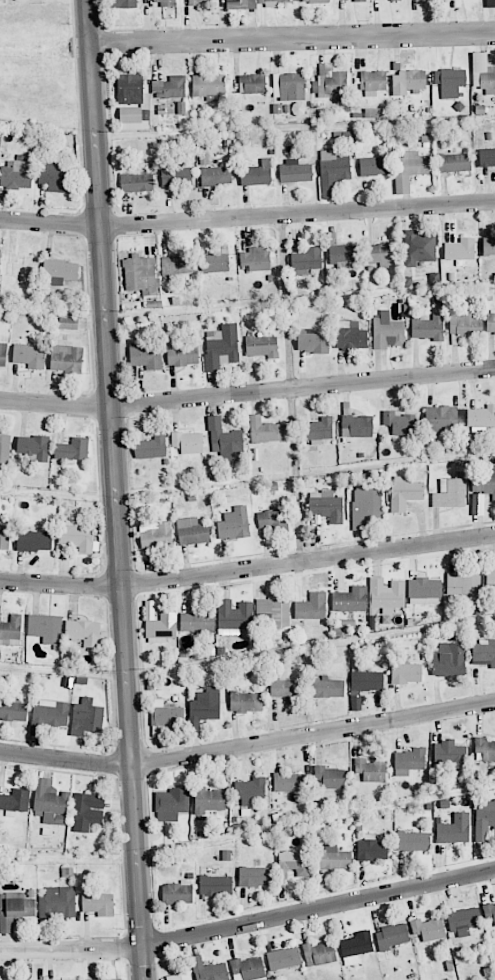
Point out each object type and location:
building: (359, 0)
building: (394, 0)
parking lot: (2, 1)
building: (310, 1)
building: (165, 2)
building: (199, 2)
building: (122, 3)
building: (253, 3)
building: (490, 3)
road: (293, 37)
park: (36, 64)
building: (483, 73)
building: (409, 80)
building: (373, 82)
building: (450, 82)
building: (251, 84)
building: (331, 85)
building: (208, 86)
building: (289, 86)
building: (170, 87)
building: (132, 102)
building: (375, 113)
building: (487, 157)
building: (454, 162)
building: (374, 166)
building: (333, 170)
building: (410, 170)
building: (294, 171)
building: (256, 174)
building: (16, 175)
building: (215, 175)
building: (53, 177)
building: (176, 177)
building: (136, 183)
road: (247, 216)
building: (488, 246)
building: (418, 248)
building: (460, 249)
building: (342, 254)
building: (381, 254)
building: (0, 256)
building: (256, 259)
building: (306, 261)
building: (214, 263)
building: (176, 266)
building: (61, 269)
building: (140, 275)
building: (490, 321)
building: (67, 323)
building: (465, 324)
building: (427, 327)
building: (387, 332)
building: (350, 336)
building: (311, 341)
building: (261, 346)
building: (221, 347)
building: (3, 354)
building: (182, 355)
building: (29, 356)
building: (146, 357)
building: (66, 358)
road: (247, 393)
building: (481, 416)
building: (441, 419)
building: (399, 423)
building: (356, 426)
building: (264, 430)
building: (224, 441)
building: (188, 442)
building: (33, 447)
building: (151, 447)
building: (72, 450)
building: (483, 481)
road: (117, 489)
building: (450, 492)
building: (404, 493)
building: (365, 504)
building: (326, 506)
building: (273, 520)
building: (234, 524)
building: (192, 531)
building: (155, 535)
building: (76, 536)
building: (33, 541)
road: (248, 569)
building: (490, 581)
building: (464, 585)
building: (424, 591)
building: (386, 595)
building: (349, 600)
building: (311, 607)
building: (273, 611)
building: (234, 617)
building: (198, 621)
building: (160, 624)
building: (45, 627)
building: (10, 630)
building: (83, 632)
building: (483, 652)
building: (448, 660)
building: (406, 673)
building: (366, 680)
building: (326, 687)
building: (285, 688)
building: (246, 702)
building: (356, 703)
building: (204, 707)
building: (13, 711)
building: (166, 714)
building: (48, 715)
building: (86, 717)
road: (248, 745)
building: (485, 748)
building: (450, 755)
building: (409, 761)
building: (370, 770)
building: (330, 777)
building: (288, 782)
building: (249, 790)
building: (208, 800)
building: (15, 801)
building: (50, 802)
building: (171, 804)
building: (87, 812)
building: (485, 820)
building: (454, 829)
building: (413, 841)
building: (371, 849)
building: (333, 858)
building: (293, 864)
building: (255, 876)
building: (215, 885)
building: (176, 892)
building: (57, 902)
building: (97, 903)
building: (14, 909)
building: (489, 912)
building: (463, 919)
road: (249, 924)
building: (428, 929)
building: (392, 935)
building: (355, 947)
building: (319, 953)
building: (283, 958)
building: (247, 969)
building: (208, 970)
building: (179, 976)
building: (113, 979)

